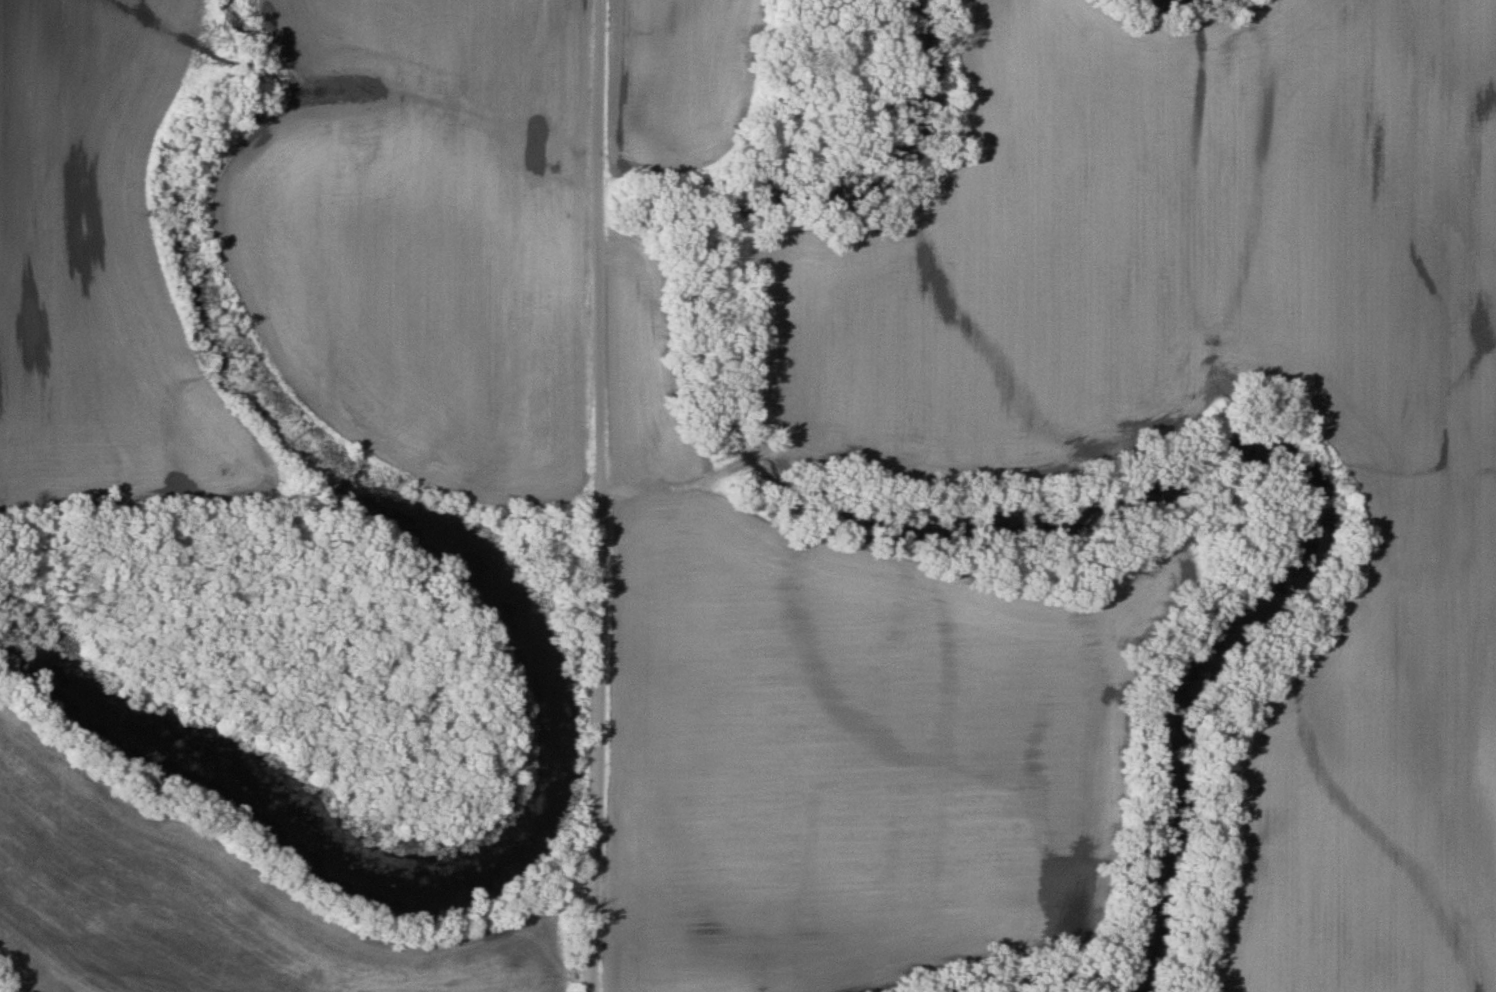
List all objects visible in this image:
road: (600, 496)

